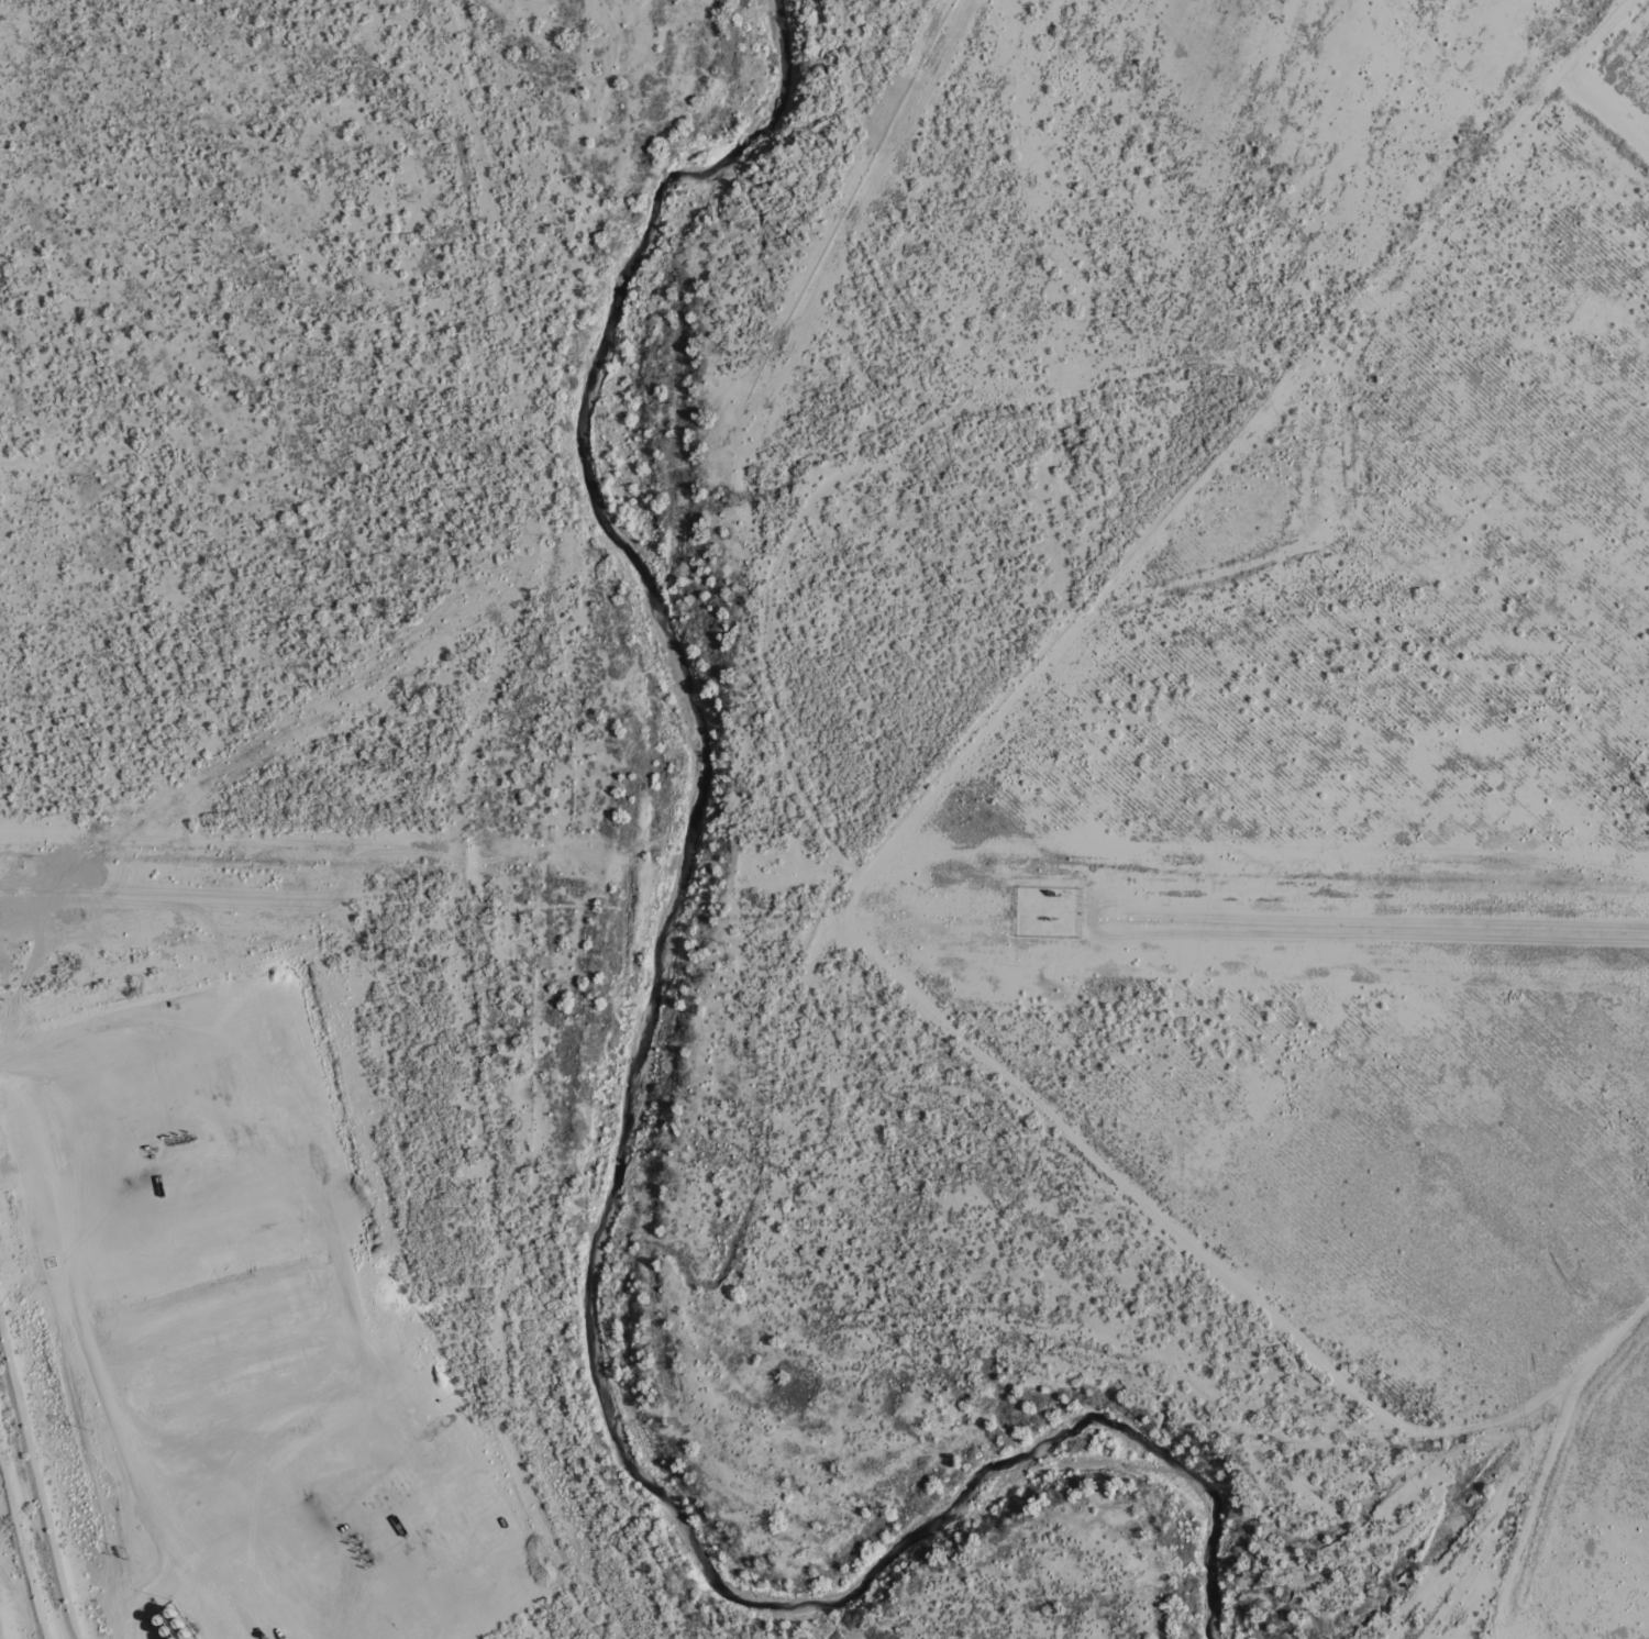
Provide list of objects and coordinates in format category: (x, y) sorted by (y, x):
road: (815, 963)
river: (672, 1147)
road: (85, 1343)
road: (1485, 1425)

